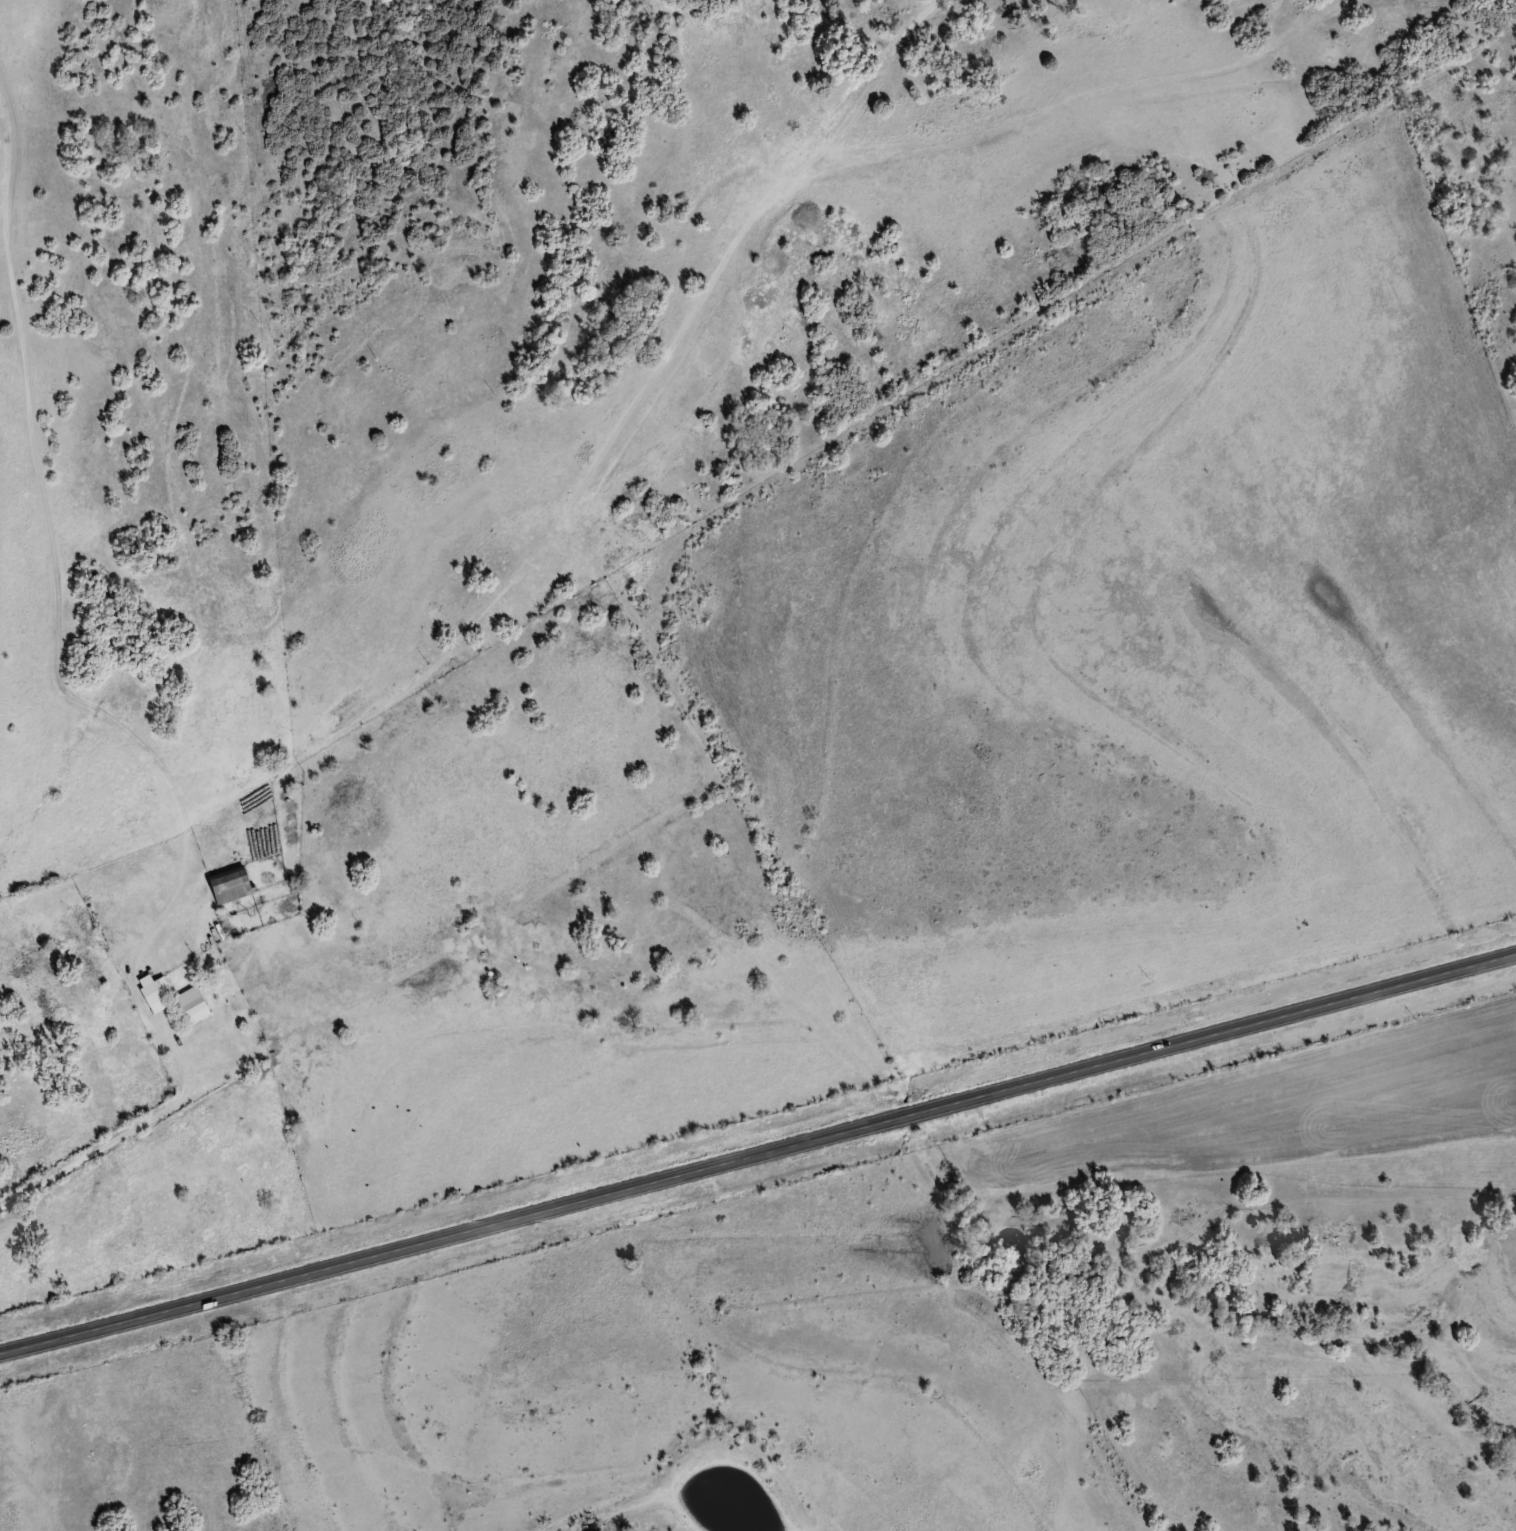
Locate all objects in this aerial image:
road: (41, 632)
building: (231, 884)
building: (153, 992)
building: (193, 1004)
road: (172, 1088)
road: (758, 1154)

